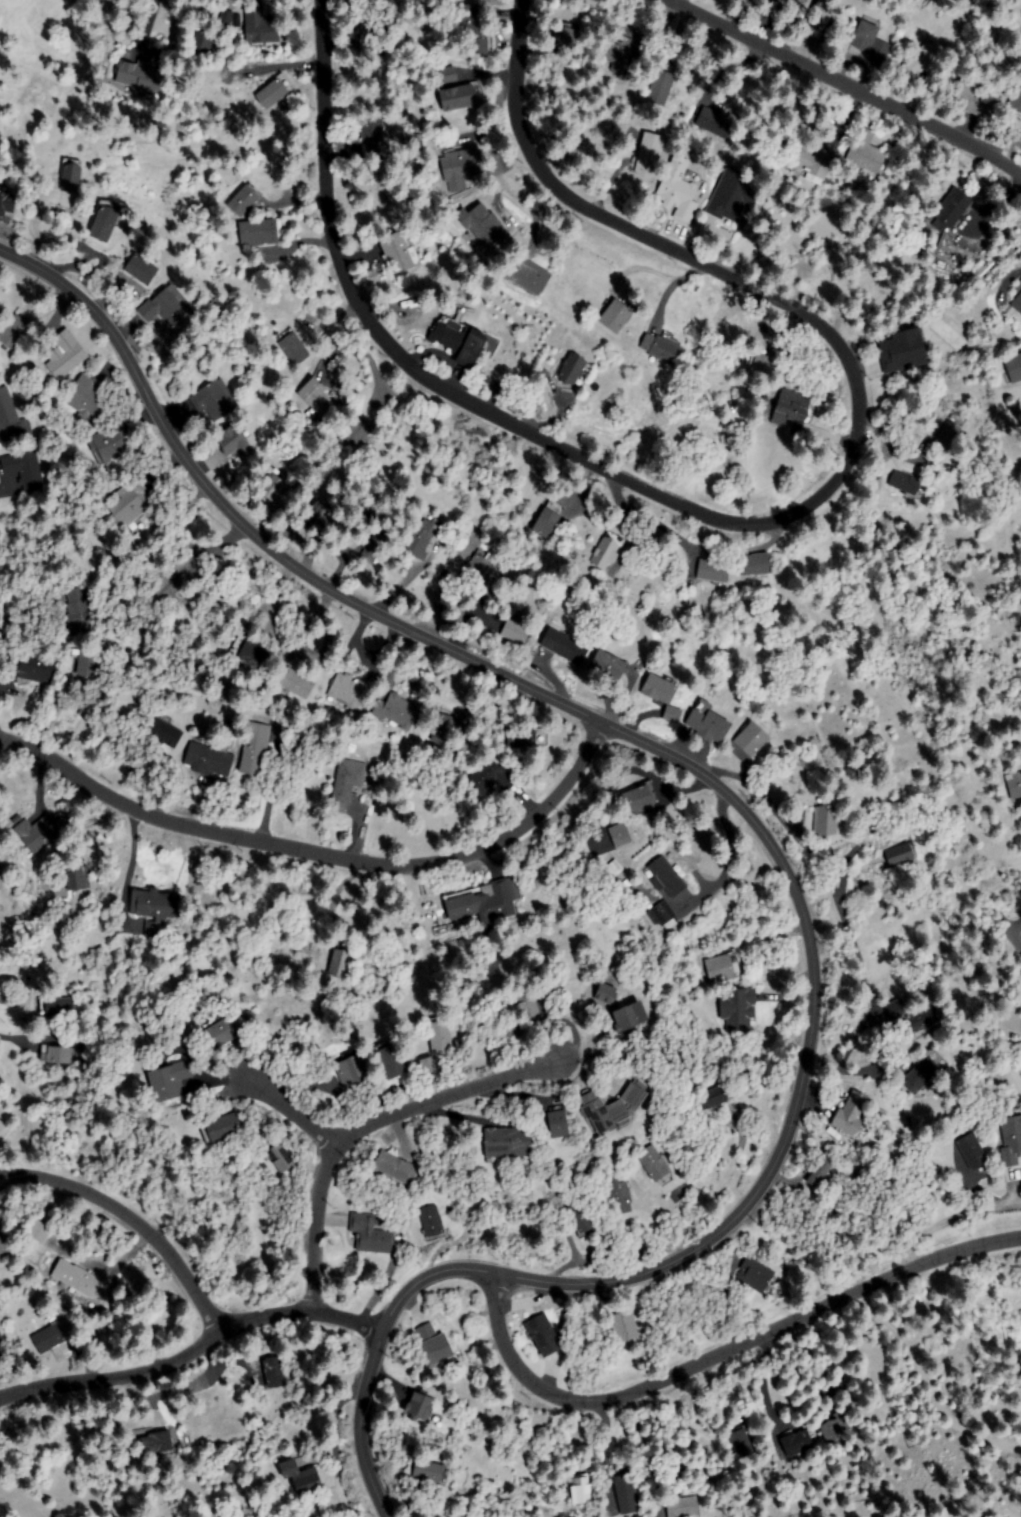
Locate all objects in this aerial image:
building: (773, 7)
building: (819, 19)
building: (225, 21)
building: (260, 27)
building: (475, 30)
building: (372, 34)
building: (565, 36)
building: (870, 41)
building: (202, 44)
building: (616, 55)
building: (918, 63)
building: (448, 76)
building: (142, 78)
road: (841, 84)
building: (659, 87)
building: (276, 92)
building: (971, 97)
building: (459, 98)
building: (1016, 100)
building: (716, 122)
building: (373, 136)
building: (866, 152)
building: (650, 154)
building: (813, 160)
building: (460, 168)
building: (70, 180)
building: (679, 190)
building: (735, 197)
building: (245, 200)
building: (5, 201)
building: (953, 208)
building: (105, 221)
building: (484, 225)
building: (258, 234)
building: (398, 252)
building: (143, 269)
building: (530, 276)
building: (1018, 289)
building: (1018, 305)
building: (167, 306)
building: (616, 317)
building: (15, 332)
building: (459, 340)
building: (662, 347)
building: (295, 350)
building: (903, 350)
building: (65, 355)
building: (769, 364)
building: (1015, 367)
building: (573, 371)
building: (88, 399)
building: (214, 400)
building: (318, 400)
building: (790, 408)
building: (6, 410)
building: (24, 432)
building: (355, 435)
building: (948, 435)
building: (110, 443)
building: (232, 443)
building: (25, 469)
building: (908, 484)
building: (276, 489)
building: (128, 505)
building: (318, 519)
building: (549, 520)
building: (292, 523)
road: (753, 523)
building: (421, 538)
building: (374, 546)
building: (607, 550)
building: (754, 565)
building: (713, 572)
building: (479, 575)
building: (178, 579)
building: (79, 611)
building: (516, 632)
building: (105, 645)
building: (565, 648)
building: (249, 651)
building: (88, 664)
building: (33, 667)
building: (608, 667)
building: (297, 683)
building: (659, 689)
building: (351, 691)
building: (397, 711)
building: (672, 716)
building: (707, 726)
building: (442, 728)
building: (166, 733)
building: (521, 740)
building: (751, 740)
building: (255, 749)
building: (211, 760)
building: (490, 777)
building: (347, 783)
building: (1015, 786)
building: (639, 800)
building: (826, 821)
building: (42, 831)
building: (620, 835)
road: (769, 841)
road: (322, 854)
building: (901, 854)
building: (76, 876)
building: (666, 879)
building: (485, 902)
building: (157, 909)
building: (664, 915)
building: (341, 962)
building: (723, 968)
building: (605, 993)
building: (525, 1002)
building: (57, 1008)
building: (738, 1009)
building: (918, 1015)
building: (629, 1017)
building: (184, 1019)
building: (221, 1029)
building: (441, 1037)
building: (57, 1055)
building: (390, 1060)
building: (428, 1065)
building: (352, 1071)
building: (925, 1071)
building: (170, 1081)
building: (715, 1097)
building: (614, 1108)
road: (293, 1111)
building: (850, 1116)
building: (559, 1123)
road: (367, 1124)
building: (221, 1127)
building: (1011, 1139)
building: (508, 1143)
building: (972, 1152)
building: (282, 1158)
building: (656, 1165)
building: (396, 1168)
building: (821, 1171)
building: (618, 1193)
road: (128, 1218)
building: (583, 1220)
building: (432, 1222)
building: (39, 1232)
building: (371, 1233)
building: (2, 1249)
building: (757, 1277)
building: (82, 1281)
building: (625, 1325)
building: (544, 1335)
building: (54, 1339)
road: (193, 1346)
building: (434, 1346)
building: (2, 1350)
road: (722, 1353)
building: (274, 1370)
building: (420, 1407)
building: (834, 1433)
building: (742, 1442)
building: (797, 1443)
building: (156, 1444)
building: (292, 1468)
building: (431, 1473)
building: (307, 1481)
building: (581, 1490)
building: (626, 1491)
building: (683, 1507)

